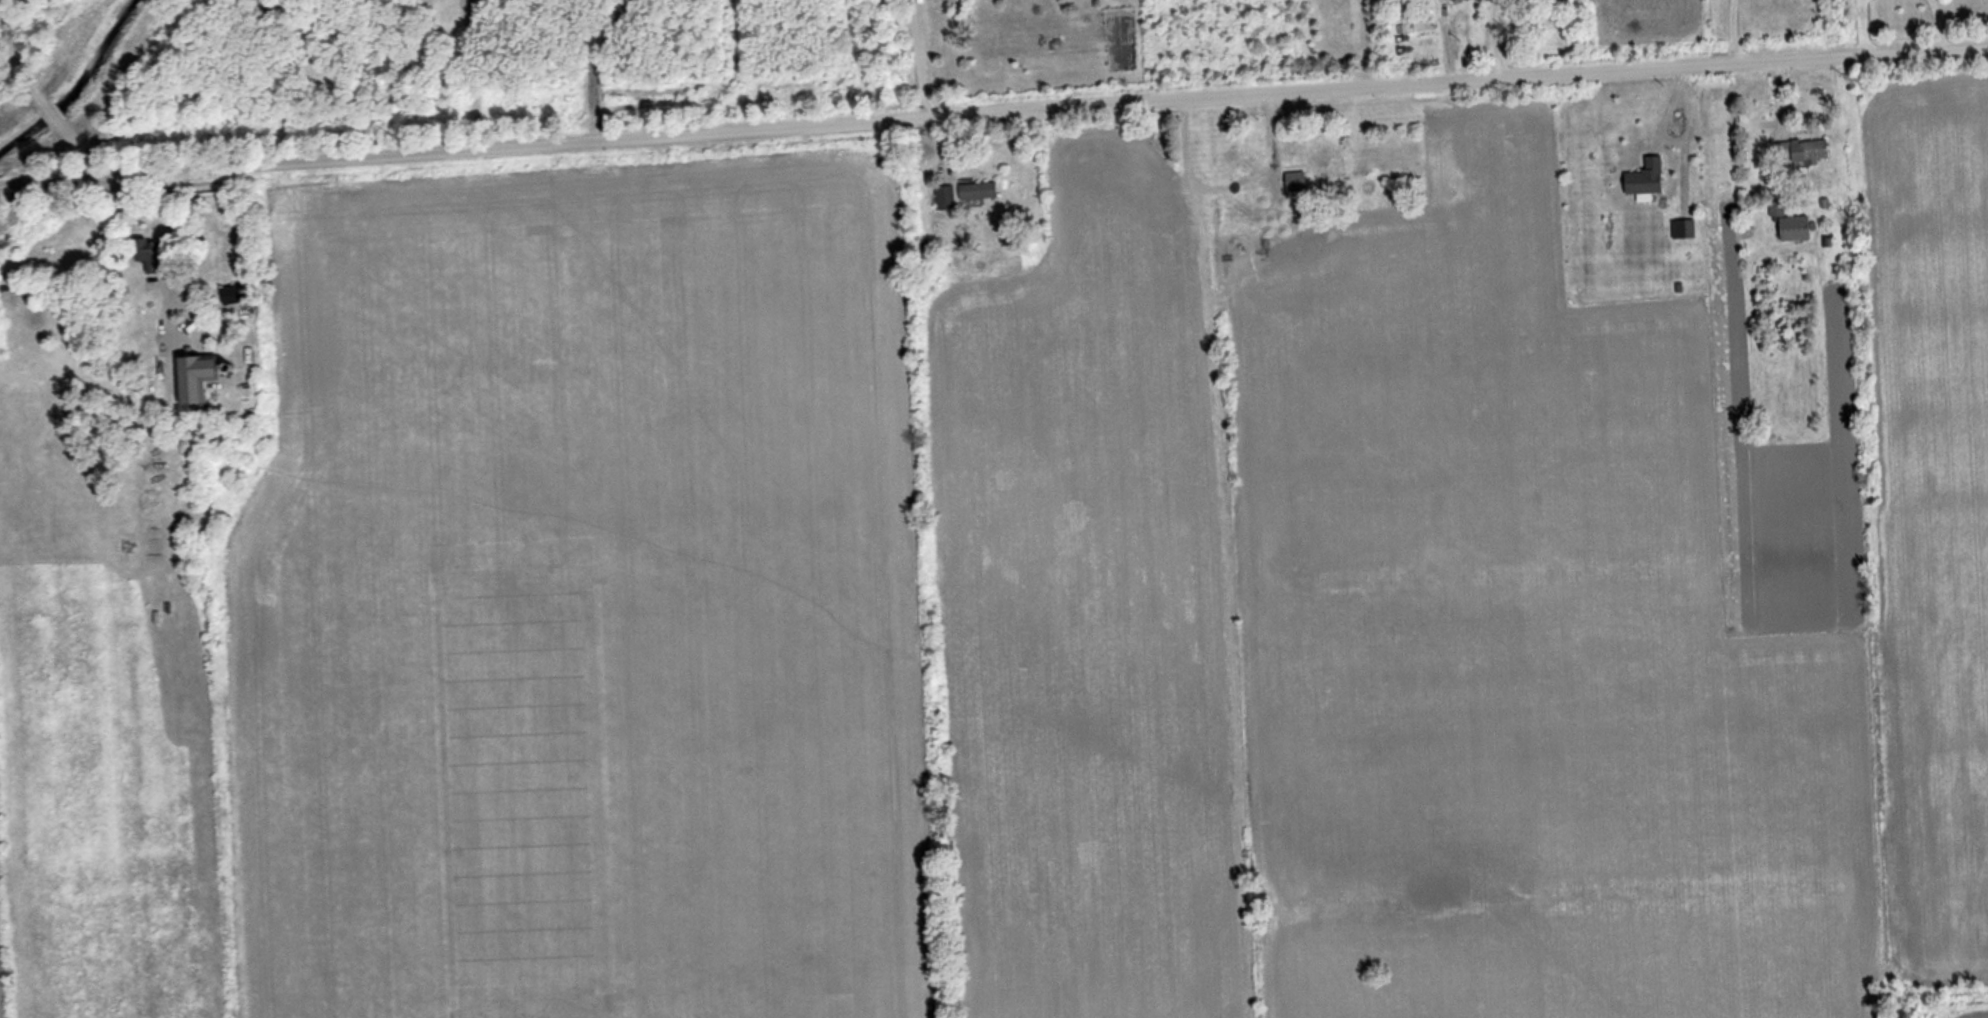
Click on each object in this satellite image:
building: (1553, 0)
building: (1417, 27)
road: (1734, 34)
road: (1364, 45)
road: (917, 60)
road: (593, 67)
road: (472, 76)
road: (36, 93)
road: (993, 116)
building: (1801, 151)
building: (1324, 161)
building: (1295, 177)
building: (1644, 178)
building: (977, 190)
building: (944, 197)
building: (1790, 224)
building: (142, 249)
building: (232, 293)
building: (193, 378)

